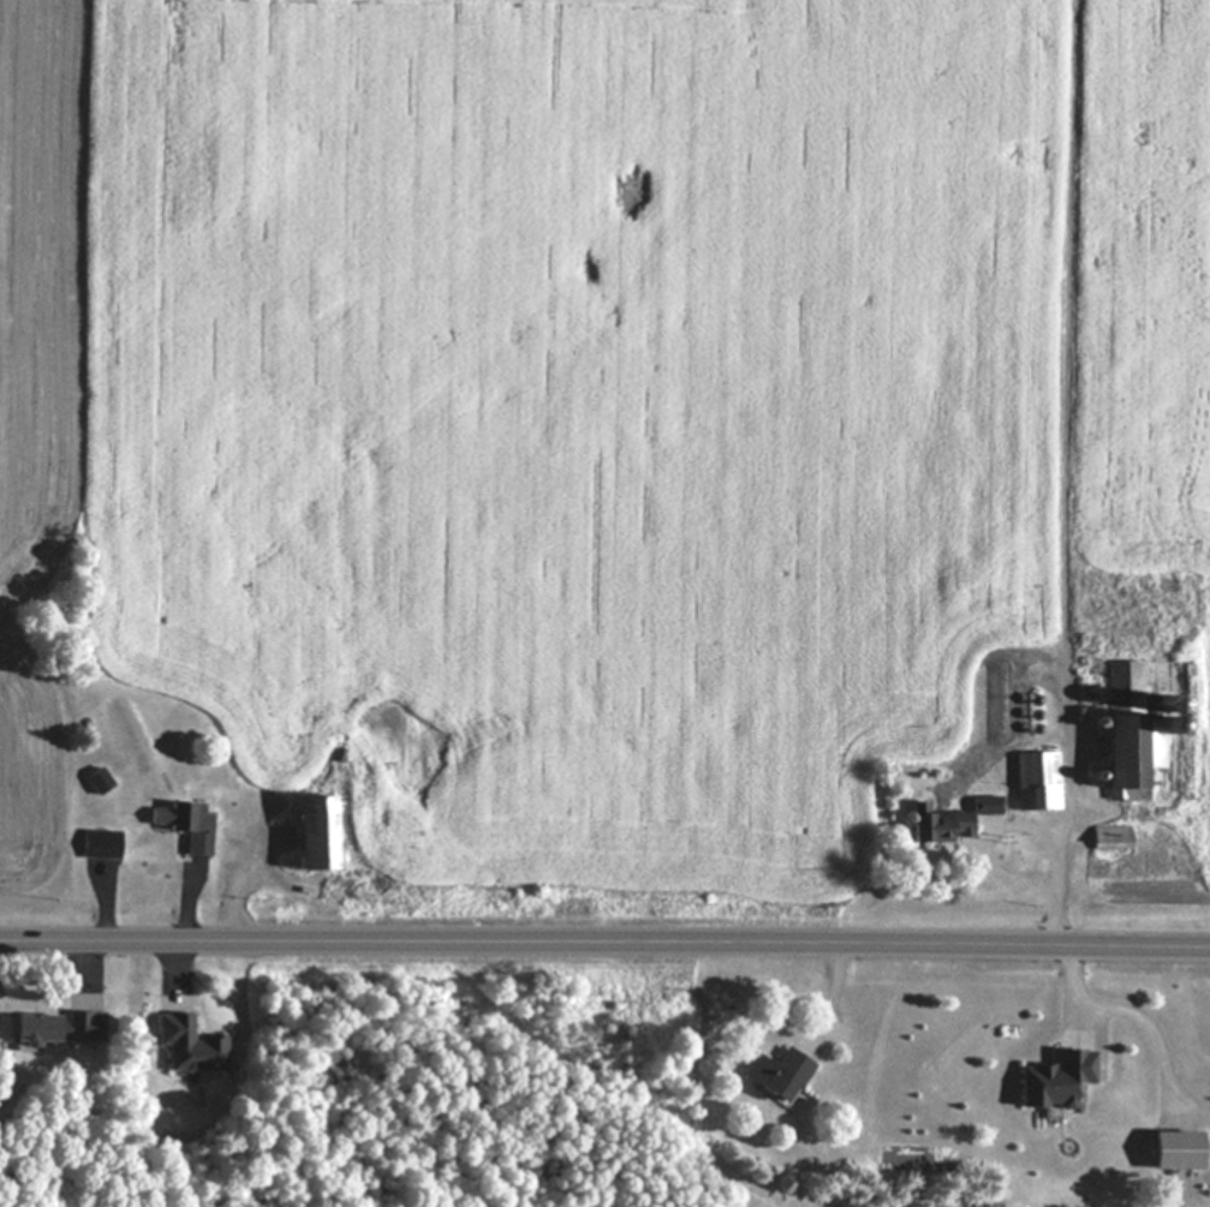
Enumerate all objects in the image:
building: (1127, 736)
building: (1033, 783)
building: (984, 807)
building: (183, 826)
building: (936, 829)
building: (309, 835)
building: (1109, 839)
building: (97, 846)
road: (1062, 891)
road: (109, 910)
road: (184, 938)
road: (604, 944)
road: (90, 964)
road: (839, 996)
road: (1129, 1011)
building: (54, 1029)
building: (185, 1046)
building: (776, 1075)
building: (1053, 1082)
building: (1172, 1153)

